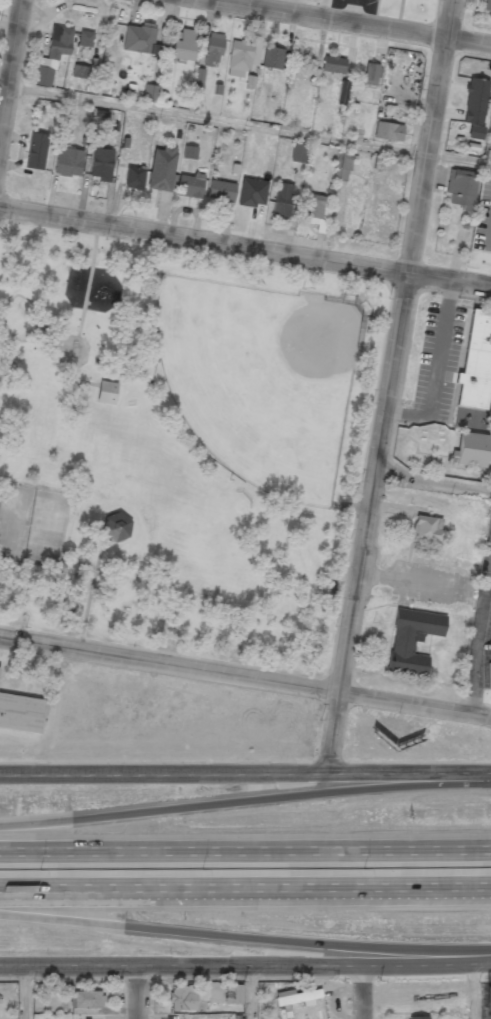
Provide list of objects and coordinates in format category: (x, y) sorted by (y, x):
building: (487, 5)
road: (349, 22)
building: (85, 38)
building: (140, 39)
building: (182, 44)
building: (213, 49)
building: (84, 51)
building: (52, 54)
building: (272, 57)
building: (241, 58)
road: (10, 63)
building: (332, 64)
building: (79, 71)
building: (370, 74)
building: (197, 80)
building: (149, 92)
building: (474, 106)
road: (248, 125)
building: (385, 130)
building: (36, 151)
building: (189, 152)
building: (298, 152)
building: (68, 162)
building: (100, 162)
building: (381, 162)
building: (342, 166)
building: (161, 168)
building: (134, 178)
building: (190, 185)
building: (461, 188)
building: (221, 191)
building: (252, 192)
building: (281, 199)
building: (316, 211)
road: (202, 242)
road: (448, 281)
building: (476, 364)
park: (259, 379)
road: (388, 386)
building: (106, 392)
park: (179, 445)
building: (471, 450)
building: (115, 526)
building: (427, 528)
building: (412, 639)
road: (169, 663)
road: (415, 700)
building: (21, 713)
road: (234, 773)
road: (480, 775)
road: (234, 798)
road: (245, 852)
road: (245, 888)
road: (245, 938)
road: (245, 965)
road: (475, 991)
road: (26, 992)
road: (137, 992)
road: (249, 992)
road: (361, 992)
building: (233, 993)
building: (182, 997)
building: (296, 997)
building: (85, 999)
building: (417, 1017)

